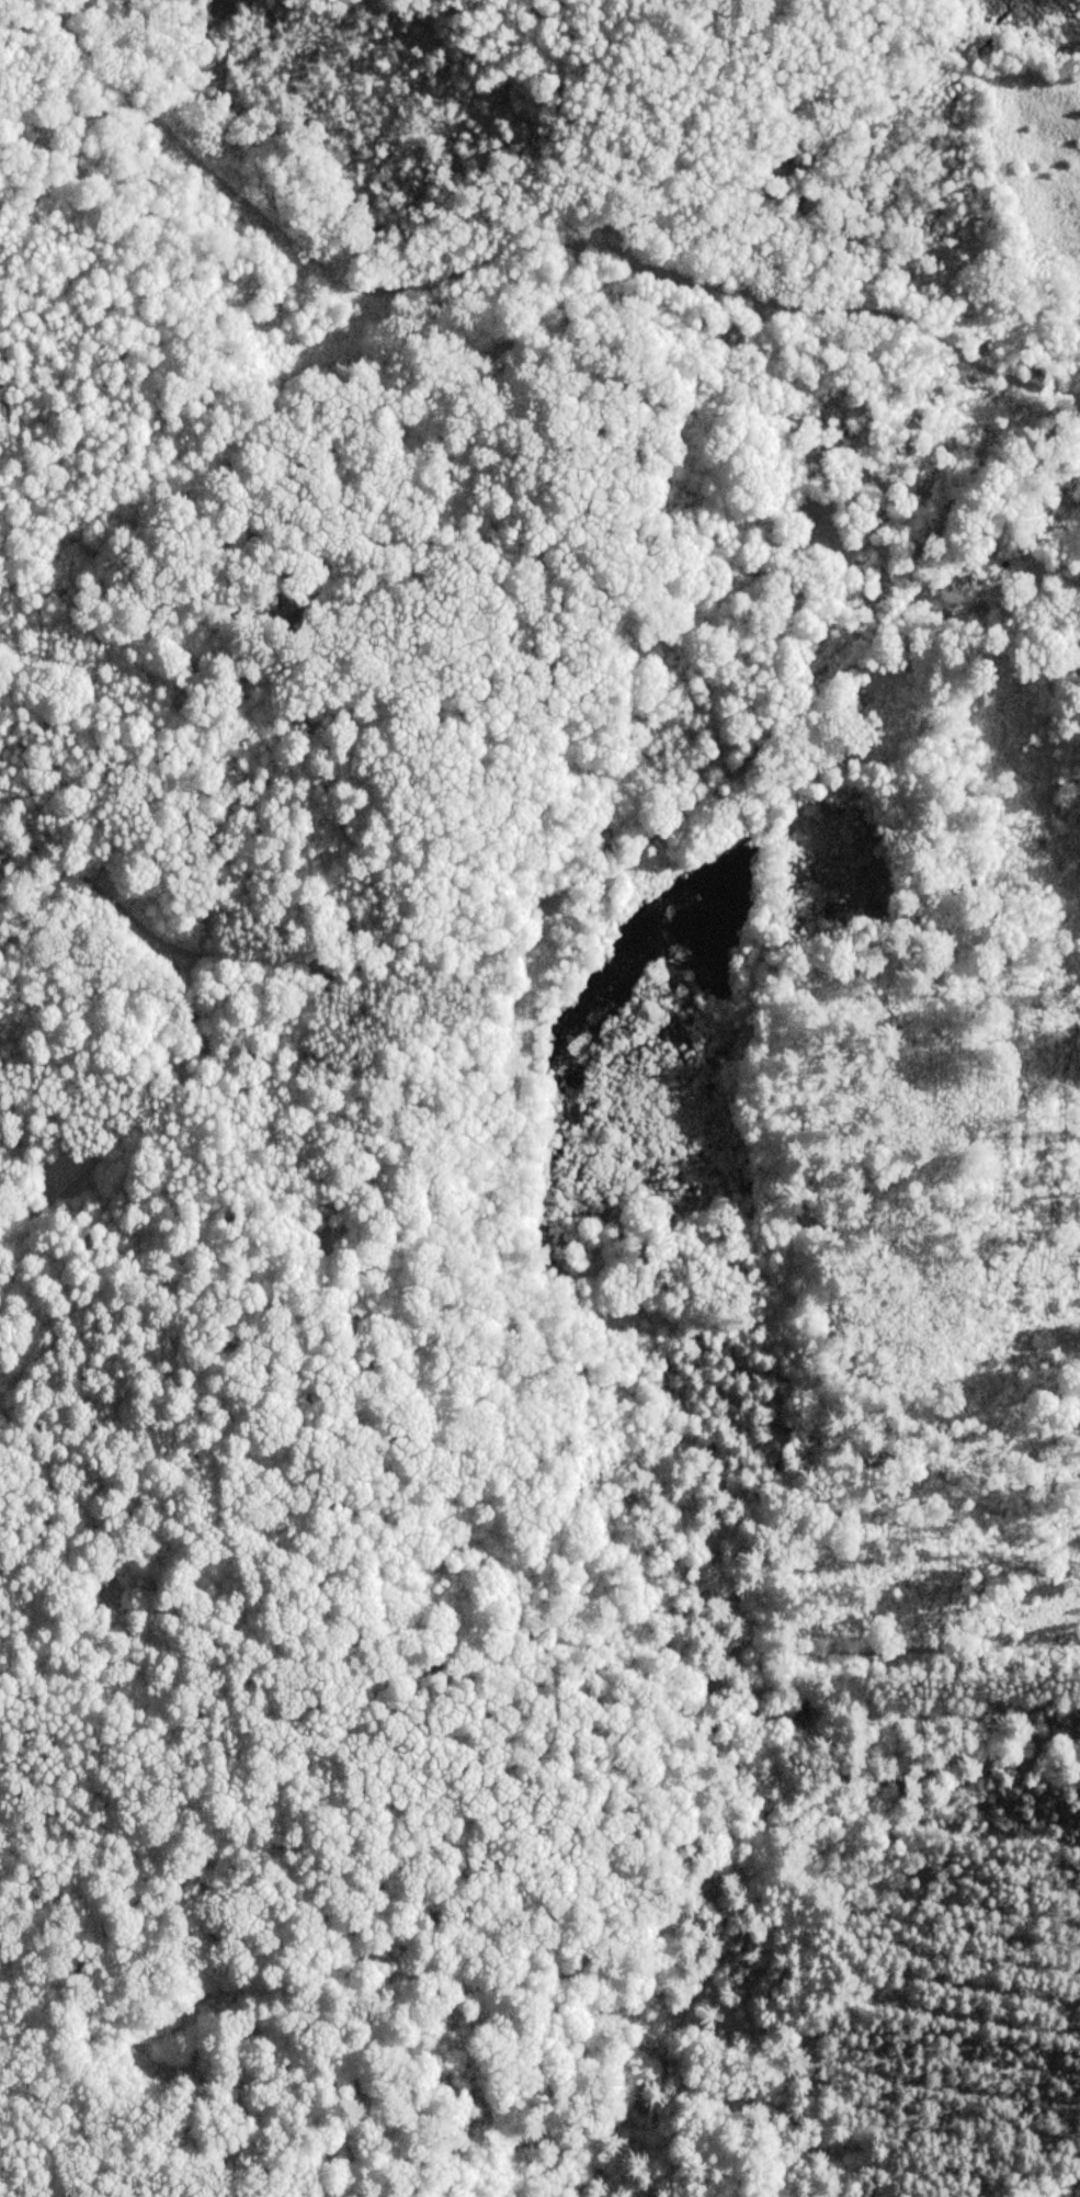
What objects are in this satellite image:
road: (510, 253)
road: (765, 727)
road: (184, 950)
road: (923, 1650)

